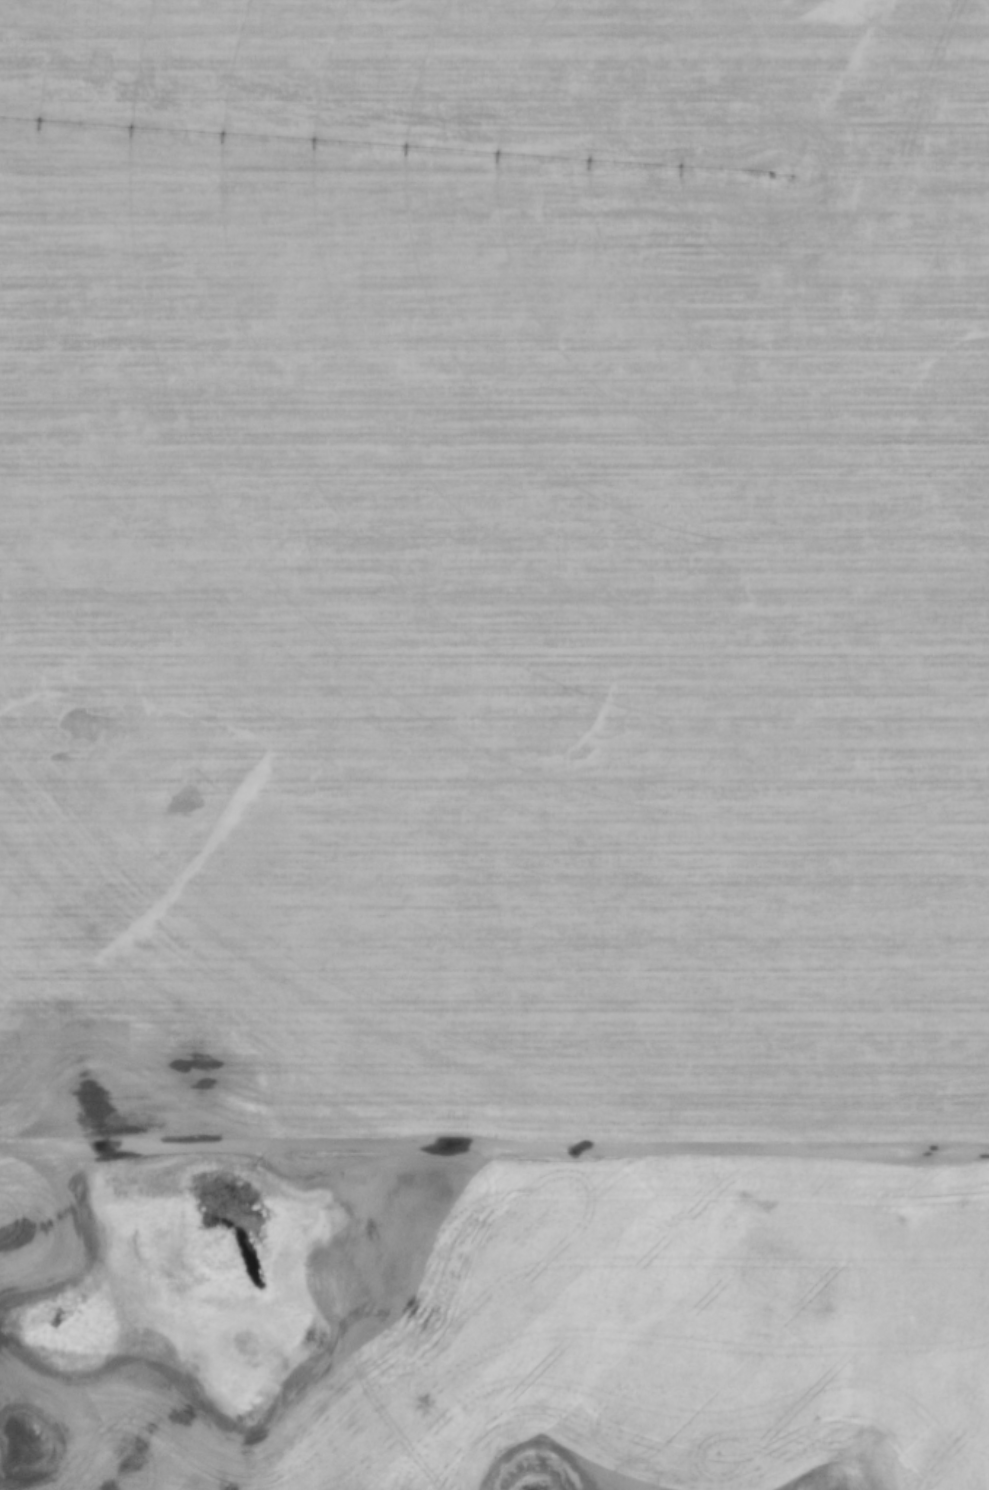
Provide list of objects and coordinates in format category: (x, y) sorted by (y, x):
road: (494, 1144)
road: (786, 1317)

